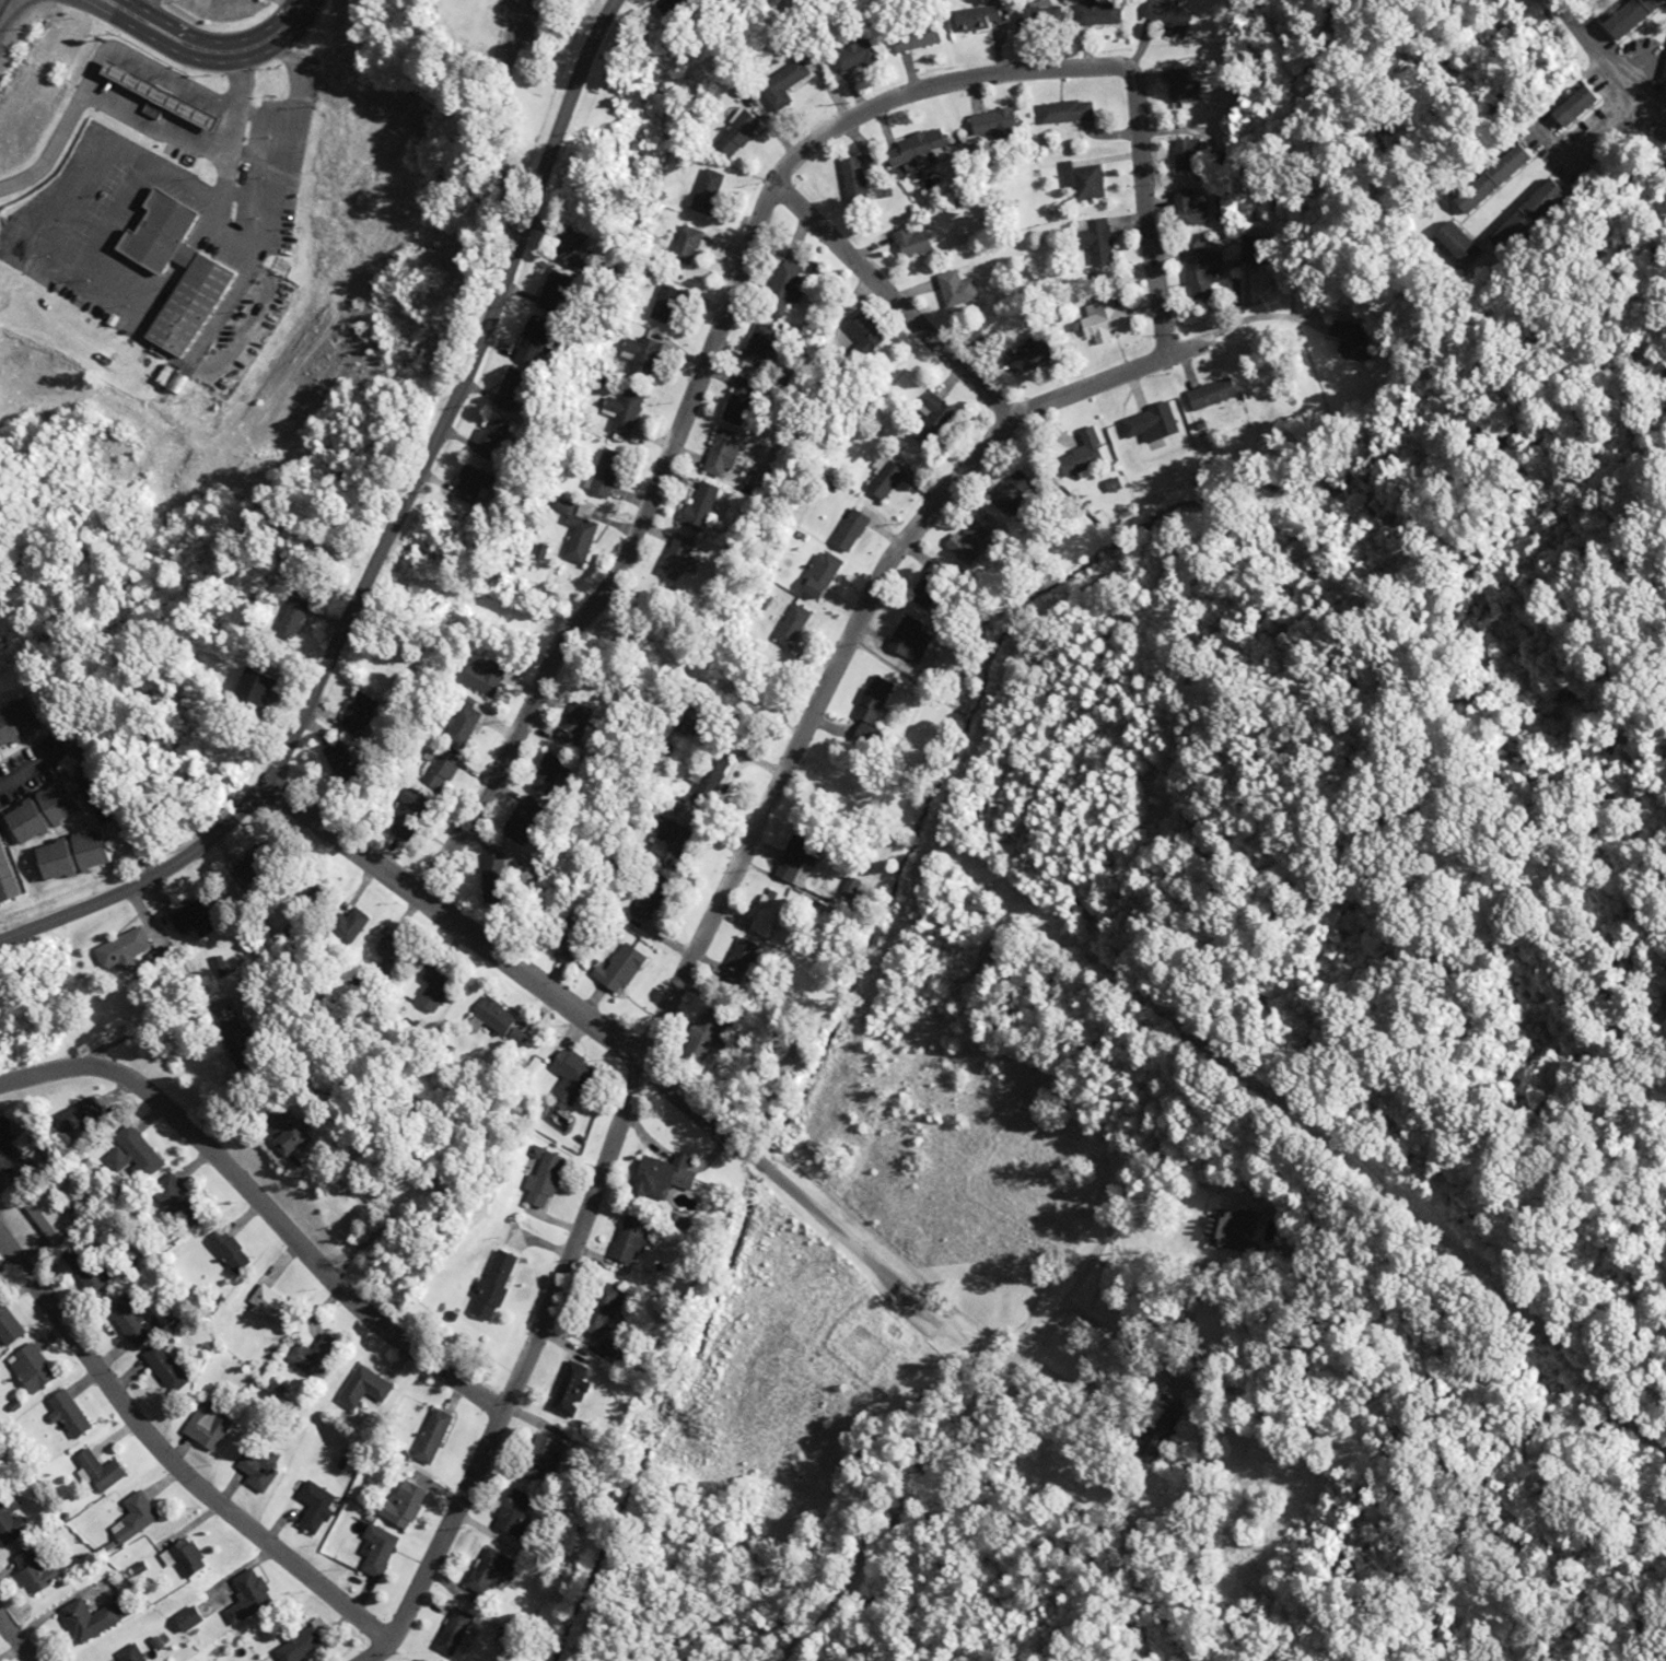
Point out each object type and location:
building: (1095, 13)
building: (1037, 14)
building: (1627, 16)
building: (974, 17)
building: (913, 36)
road: (203, 50)
building: (852, 54)
road: (1081, 67)
building: (780, 84)
building: (1181, 87)
building: (145, 93)
building: (1571, 106)
building: (1064, 112)
road: (493, 114)
building: (991, 122)
building: (735, 133)
building: (913, 149)
building: (1182, 155)
building: (1489, 178)
building: (853, 179)
building: (1081, 182)
building: (704, 190)
building: (1188, 208)
building: (1528, 211)
building: (1092, 241)
building: (909, 243)
building: (1453, 243)
building: (684, 245)
building: (1198, 270)
building: (202, 274)
building: (780, 289)
building: (954, 289)
building: (552, 291)
road: (892, 302)
building: (664, 306)
building: (1100, 320)
building: (860, 332)
building: (975, 338)
building: (531, 342)
building: (755, 347)
building: (1024, 354)
building: (639, 355)
building: (508, 390)
building: (1211, 396)
building: (736, 402)
building: (934, 412)
building: (619, 413)
building: (1157, 422)
building: (490, 435)
building: (715, 453)
building: (1081, 455)
building: (601, 477)
building: (882, 478)
building: (466, 486)
building: (697, 506)
building: (847, 531)
building: (573, 533)
road: (388, 540)
road: (629, 557)
building: (675, 561)
building: (817, 576)
building: (289, 616)
building: (790, 627)
building: (907, 640)
building: (481, 678)
building: (249, 690)
building: (871, 701)
building: (18, 721)
building: (458, 725)
building: (335, 759)
building: (436, 772)
building: (543, 773)
building: (708, 779)
road: (93, 783)
building: (408, 805)
building: (39, 812)
building: (516, 823)
building: (665, 842)
road: (358, 852)
building: (68, 856)
building: (790, 864)
building: (489, 873)
building: (4, 882)
building: (645, 898)
building: (766, 915)
building: (194, 919)
building: (343, 926)
building: (125, 946)
road: (690, 947)
building: (387, 958)
building: (741, 958)
building: (616, 969)
building: (430, 994)
building: (487, 1018)
building: (695, 1041)
building: (566, 1076)
road: (692, 1111)
building: (84, 1113)
building: (275, 1131)
building: (137, 1153)
building: (659, 1177)
building: (540, 1180)
building: (187, 1203)
road: (261, 1206)
building: (50, 1218)
building: (625, 1239)
building: (235, 1251)
building: (90, 1274)
building: (489, 1285)
building: (601, 1309)
building: (130, 1320)
building: (10, 1324)
building: (310, 1355)
building: (173, 1367)
building: (33, 1370)
building: (570, 1387)
building: (360, 1388)
building: (71, 1416)
building: (217, 1425)
building: (428, 1436)
building: (1161, 1439)
building: (544, 1459)
road: (174, 1461)
building: (108, 1471)
building: (253, 1472)
building: (400, 1504)
building: (311, 1507)
building: (513, 1510)
building: (12, 1518)
building: (142, 1518)
building: (374, 1551)
building: (197, 1557)
building: (43, 1570)
building: (487, 1571)
building: (252, 1590)
building: (95, 1621)
building: (451, 1633)
road: (14, 1641)
building: (296, 1646)
building: (137, 1653)

